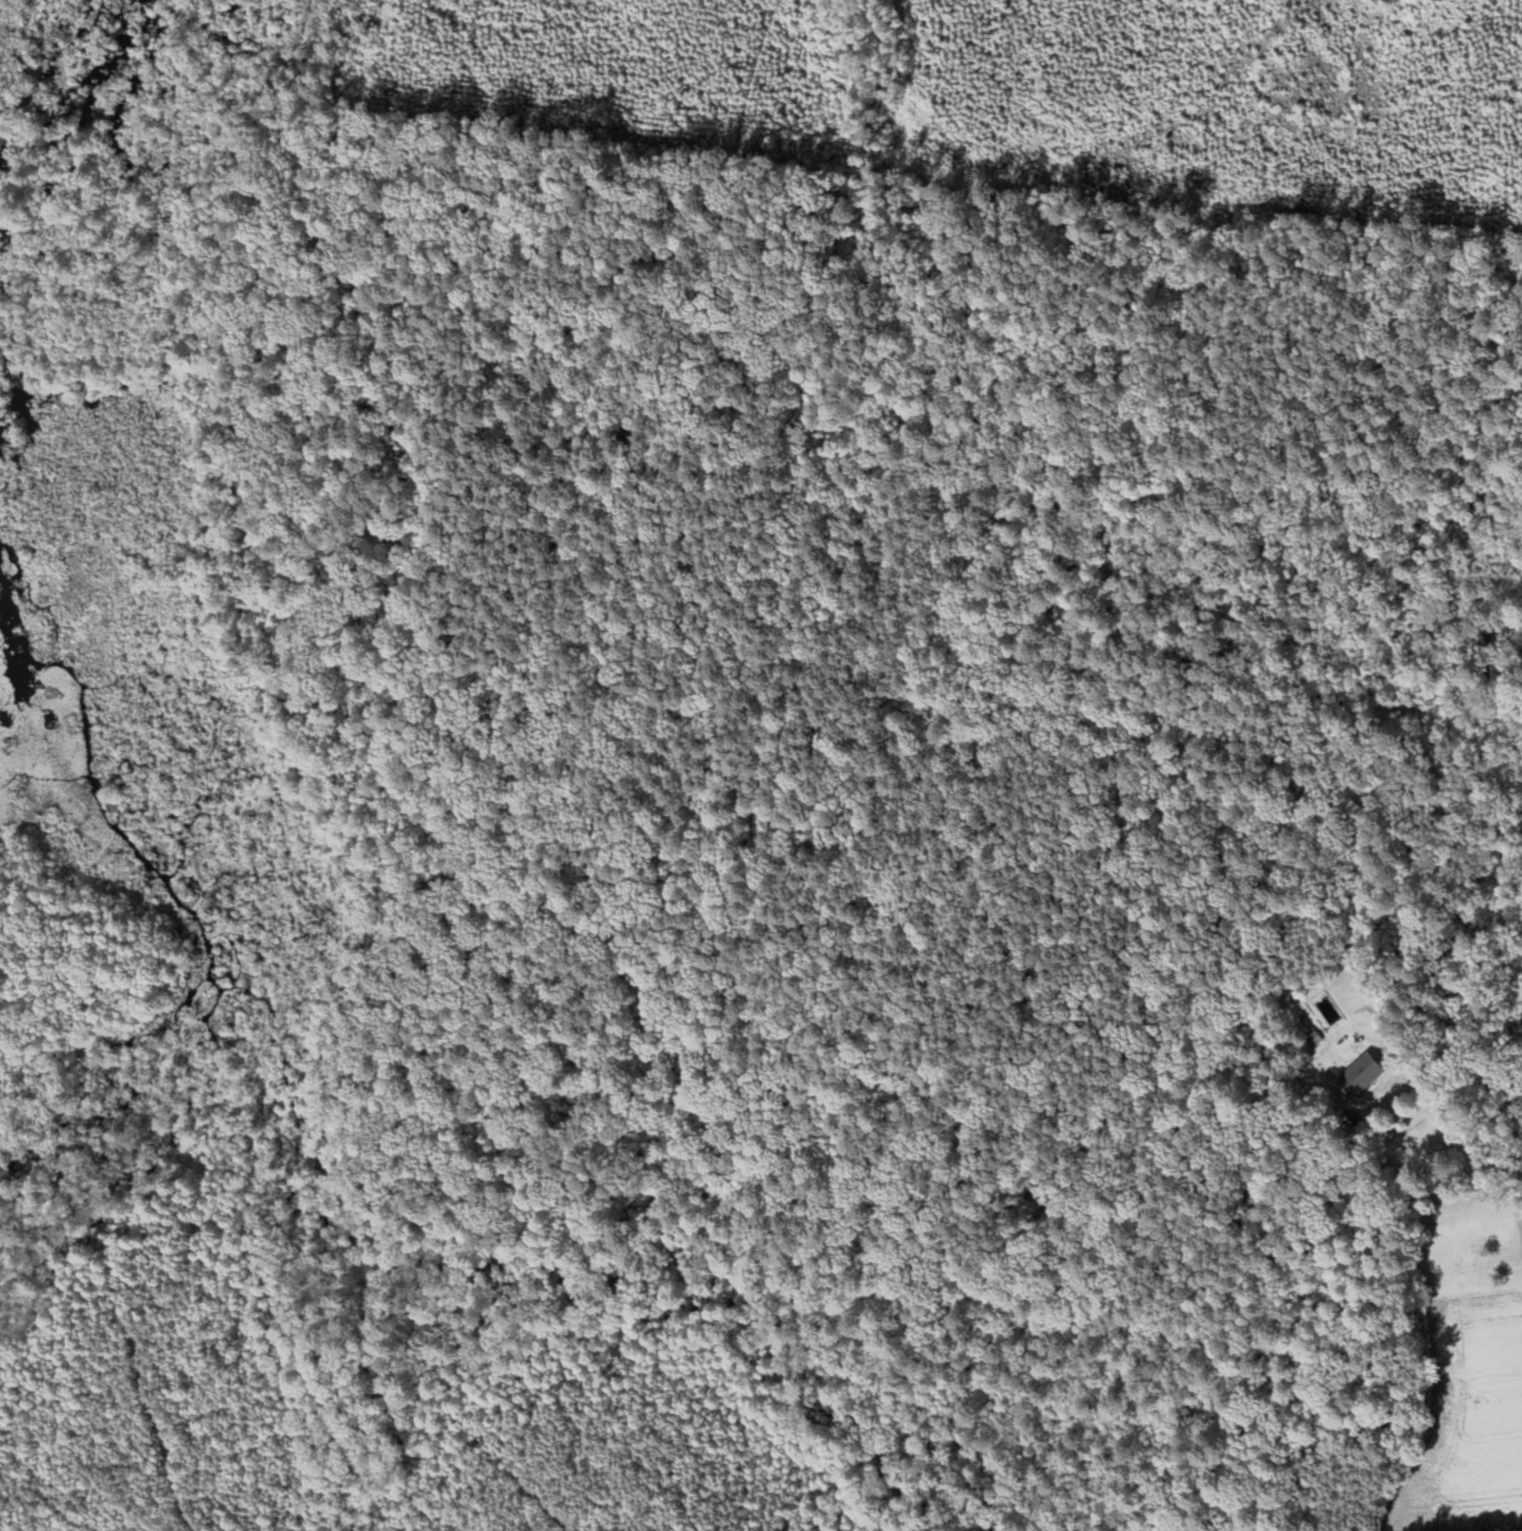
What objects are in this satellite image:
building: (1358, 1074)

